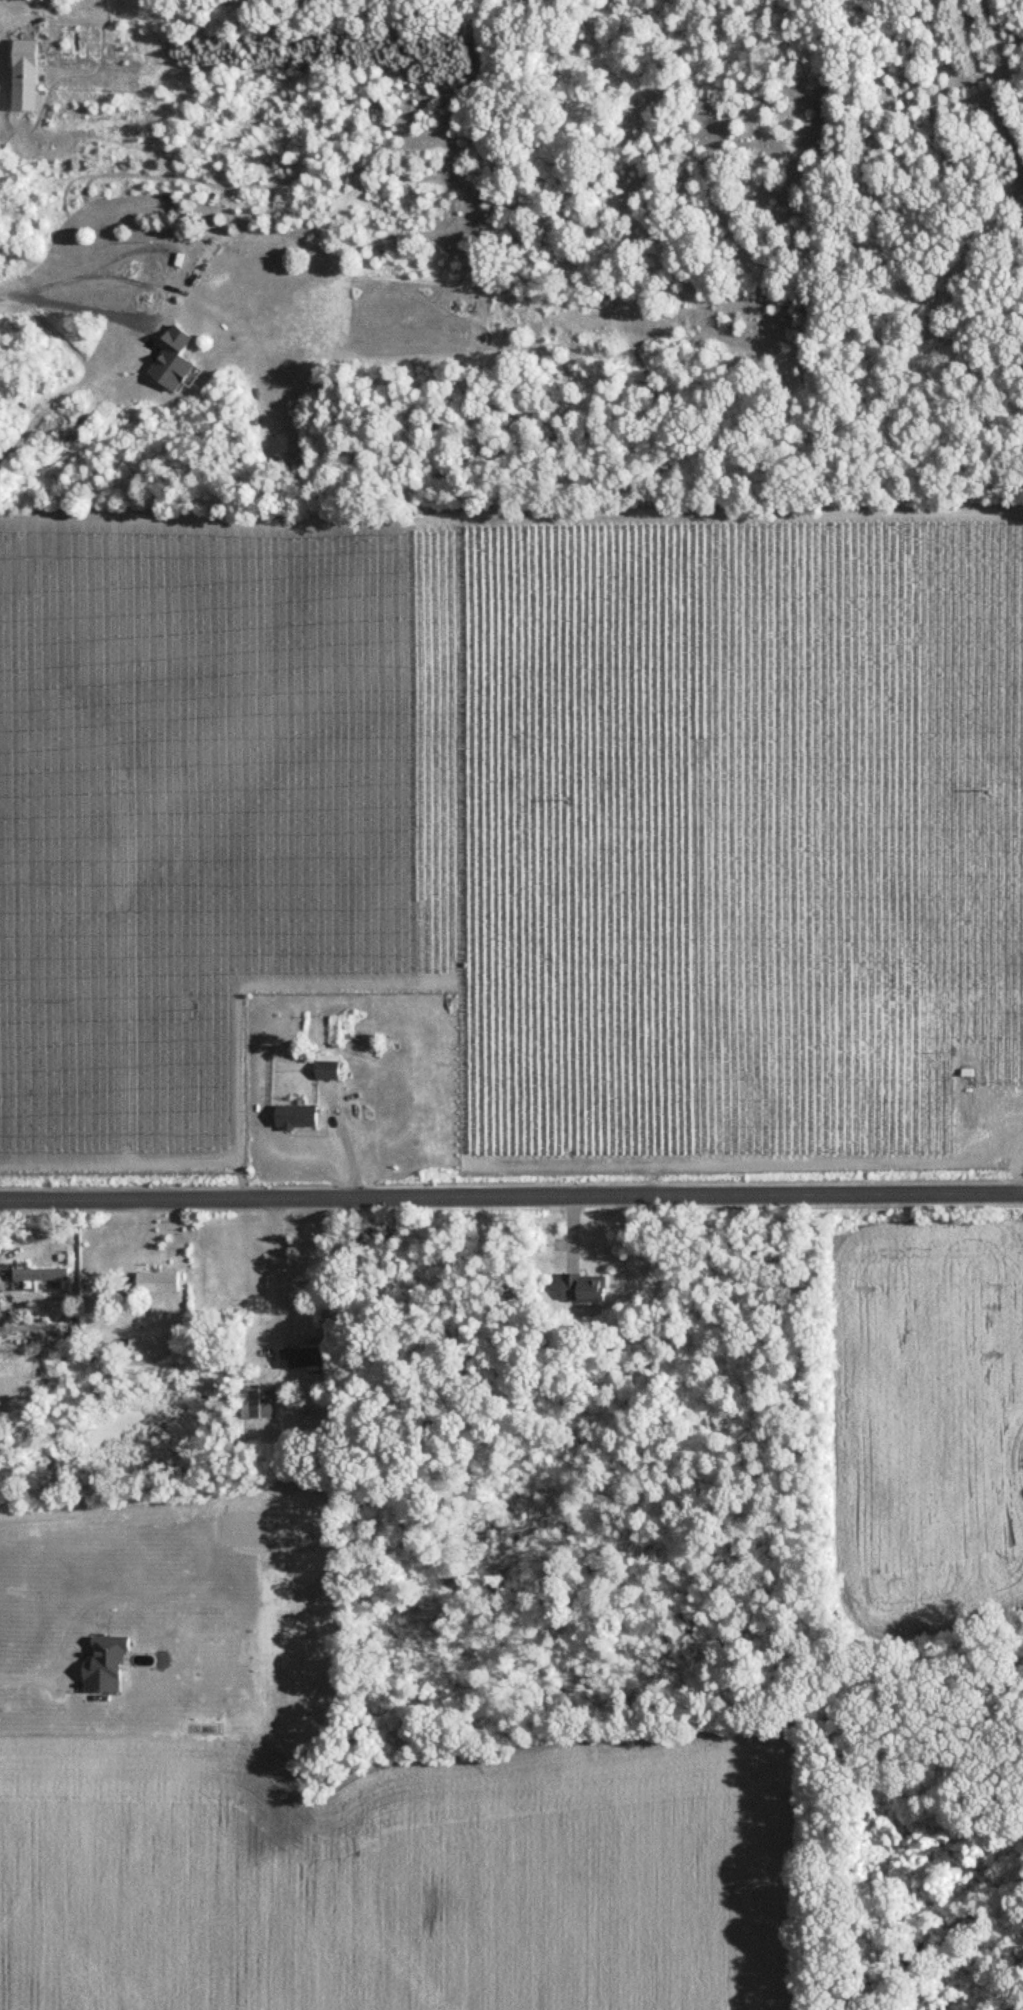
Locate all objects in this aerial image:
building: (26, 73)
road: (166, 260)
building: (202, 266)
road: (40, 284)
road: (64, 303)
building: (288, 445)
building: (329, 1068)
building: (299, 1117)
road: (511, 1196)
road: (279, 1258)
building: (44, 1274)
building: (159, 1281)
building: (587, 1286)
building: (1, 1302)
building: (307, 1356)
building: (257, 1403)
road: (21, 1677)

